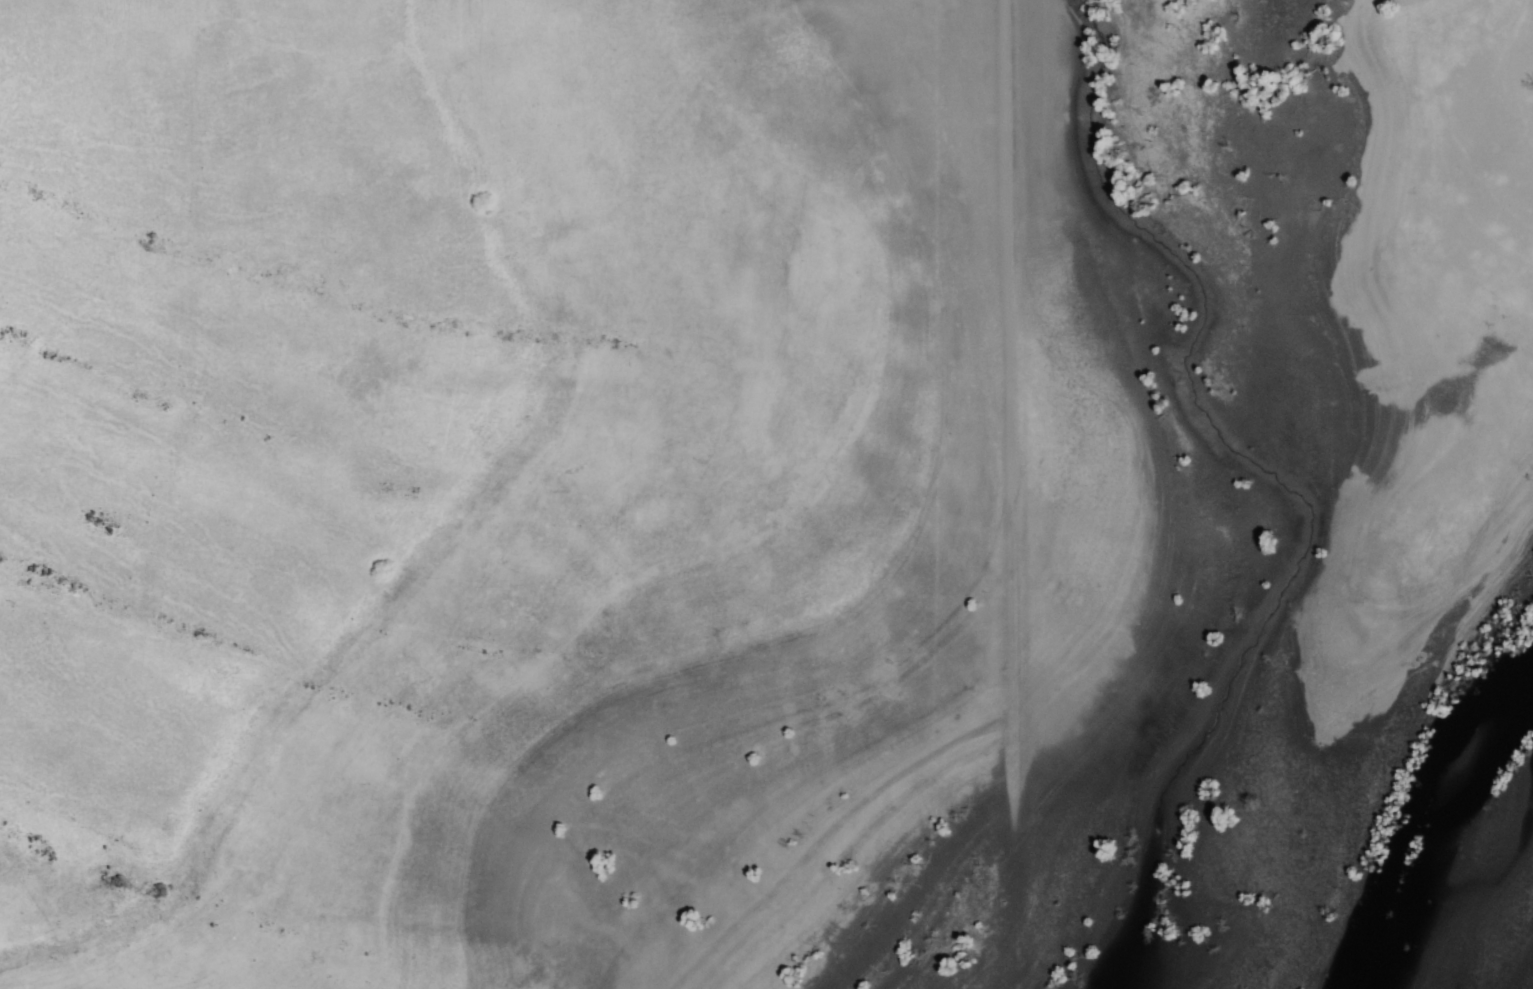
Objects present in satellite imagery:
river: (1419, 803)

